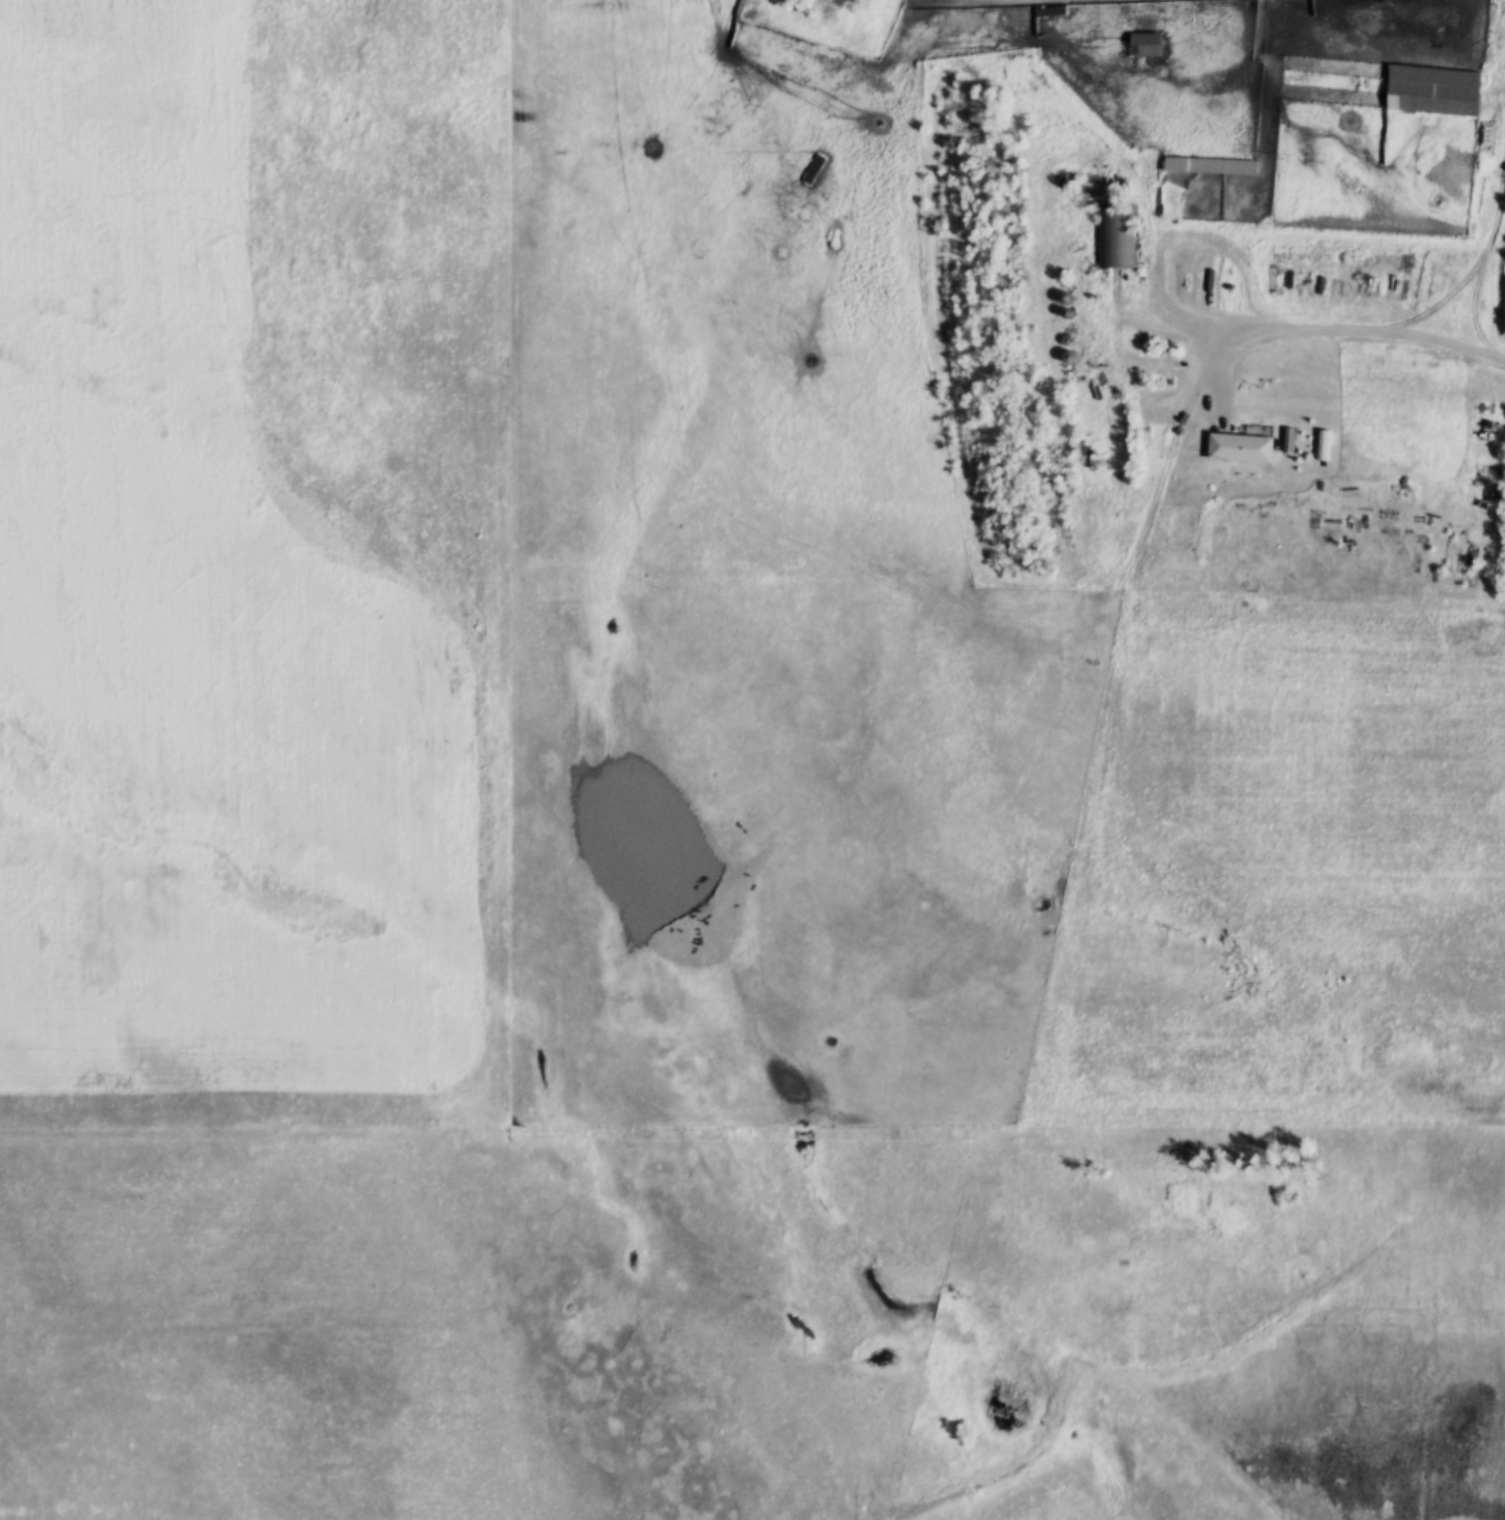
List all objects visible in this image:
building: (1140, 43)
building: (1428, 88)
road: (1110, 141)
building: (1203, 164)
building: (1114, 235)
road: (1153, 263)
road: (1433, 342)
building: (1236, 446)
road: (1157, 495)

